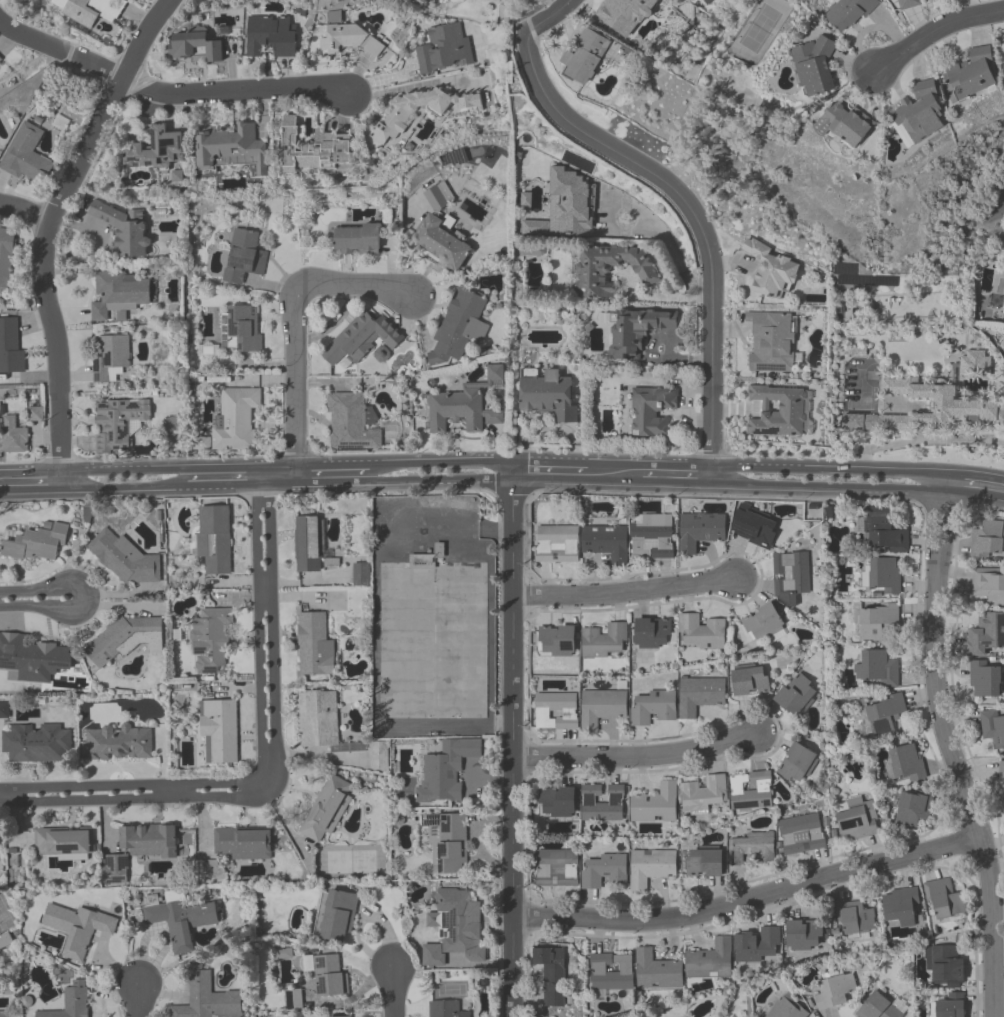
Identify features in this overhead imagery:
building: (908, 4)
building: (90, 9)
building: (849, 14)
building: (625, 15)
road: (544, 17)
road: (933, 31)
building: (348, 37)
building: (270, 38)
building: (193, 46)
building: (444, 49)
building: (585, 57)
building: (0, 58)
building: (815, 69)
building: (971, 76)
road: (165, 92)
building: (411, 112)
building: (919, 115)
building: (846, 126)
building: (233, 149)
building: (315, 149)
building: (160, 150)
building: (28, 156)
building: (566, 206)
road: (25, 216)
road: (695, 220)
road: (50, 230)
building: (122, 230)
building: (440, 231)
building: (356, 239)
road: (666, 241)
building: (243, 256)
building: (6, 261)
building: (609, 269)
building: (773, 272)
road: (351, 284)
building: (118, 295)
road: (663, 297)
building: (459, 327)
building: (241, 330)
building: (637, 331)
building: (361, 339)
building: (771, 344)
building: (10, 348)
building: (110, 358)
building: (974, 364)
road: (333, 381)
road: (292, 386)
building: (548, 396)
building: (465, 406)
building: (968, 407)
building: (777, 411)
building: (651, 412)
building: (232, 420)
building: (118, 424)
building: (352, 424)
building: (14, 437)
road: (921, 441)
road: (256, 466)
road: (825, 470)
road: (549, 471)
road: (614, 474)
road: (676, 476)
road: (439, 479)
road: (330, 482)
road: (274, 483)
road: (216, 484)
road: (824, 486)
road: (118, 487)
road: (971, 488)
road: (29, 489)
road: (938, 493)
building: (754, 528)
road: (928, 530)
building: (884, 531)
road: (943, 531)
building: (700, 532)
building: (652, 536)
building: (214, 539)
building: (988, 540)
building: (37, 543)
building: (307, 543)
building: (606, 543)
building: (556, 544)
building: (123, 558)
building: (359, 575)
building: (882, 575)
building: (790, 577)
building: (989, 588)
road: (39, 589)
road: (625, 595)
road: (264, 598)
road: (41, 607)
road: (257, 616)
road: (271, 616)
building: (874, 619)
building: (764, 624)
building: (700, 632)
building: (654, 634)
building: (984, 635)
building: (210, 638)
building: (556, 641)
building: (605, 641)
building: (314, 646)
building: (36, 657)
building: (877, 669)
building: (984, 679)
building: (750, 683)
building: (796, 694)
building: (699, 696)
building: (651, 707)
building: (601, 708)
building: (4, 710)
building: (556, 711)
building: (885, 715)
building: (318, 719)
building: (992, 727)
building: (220, 729)
building: (36, 743)
building: (117, 743)
road: (514, 743)
road: (639, 757)
building: (797, 764)
building: (904, 765)
building: (445, 771)
building: (1001, 771)
road: (267, 774)
road: (126, 788)
road: (257, 788)
road: (961, 789)
building: (727, 793)
road: (125, 800)
building: (557, 802)
building: (602, 803)
building: (655, 804)
building: (325, 807)
building: (912, 809)
building: (857, 820)
building: (801, 835)
building: (243, 842)
building: (64, 843)
building: (448, 844)
building: (750, 850)
building: (138, 851)
building: (703, 862)
building: (650, 868)
building: (556, 869)
building: (604, 871)
building: (945, 899)
road: (751, 904)
building: (900, 906)
building: (338, 916)
building: (855, 920)
building: (183, 923)
building: (78, 927)
building: (454, 929)
building: (803, 936)
building: (6, 944)
building: (758, 946)
building: (710, 961)
building: (947, 967)
building: (657, 971)
building: (327, 973)
building: (611, 973)
building: (551, 976)
road: (391, 992)
building: (834, 992)
building: (207, 998)
building: (294, 1000)
building: (72, 1001)
road: (136, 1002)
building: (880, 1007)
building: (950, 1007)
building: (444, 1009)
building: (785, 1009)
building: (4, 1014)
building: (341, 1016)

